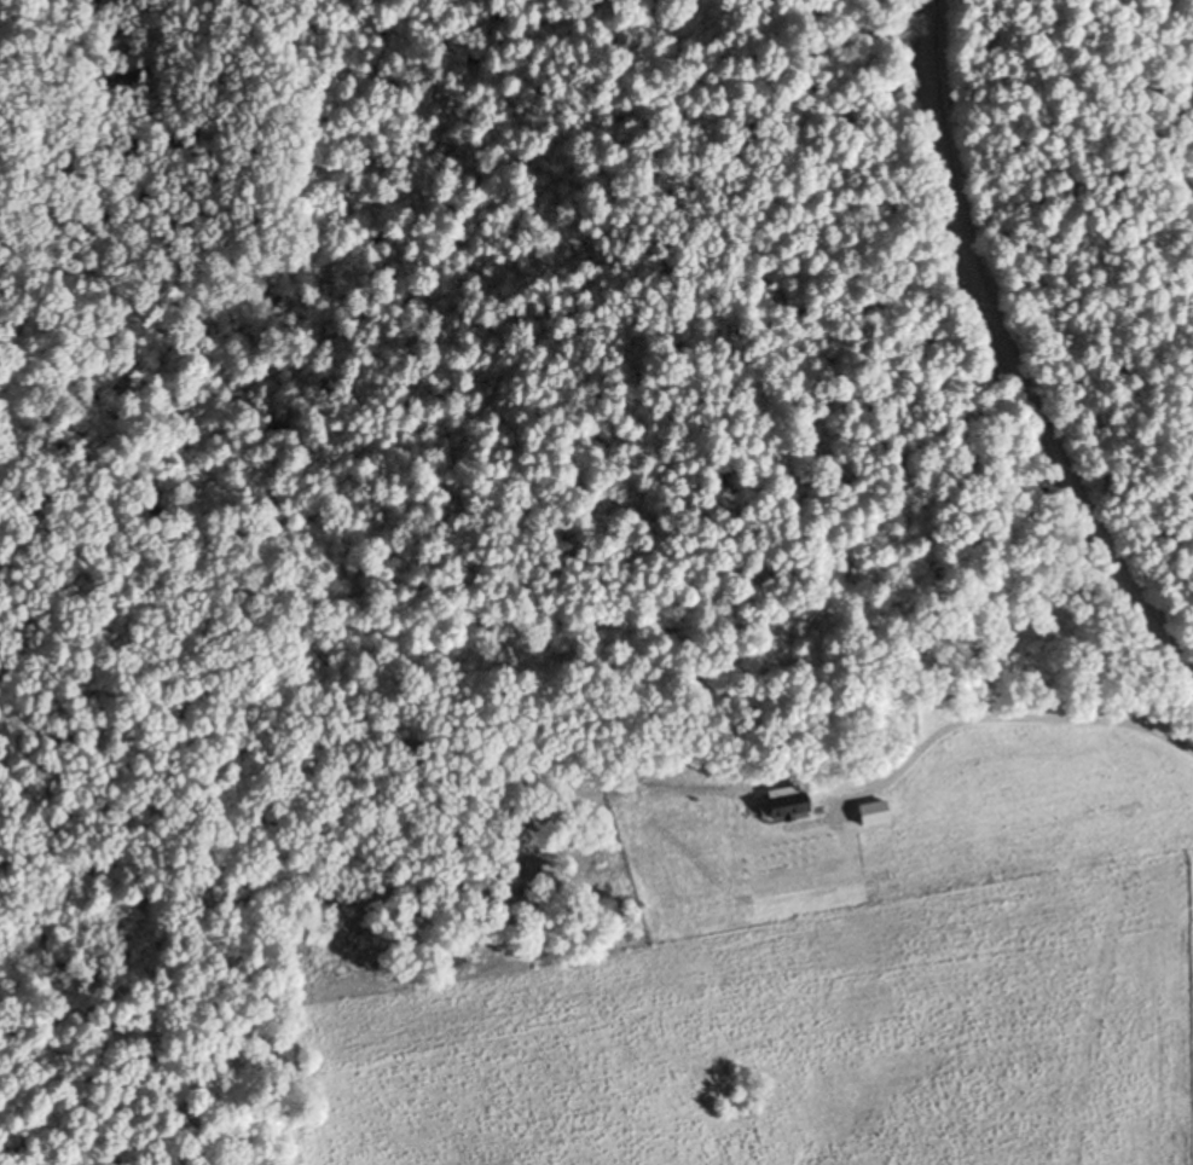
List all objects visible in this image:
road: (998, 360)

